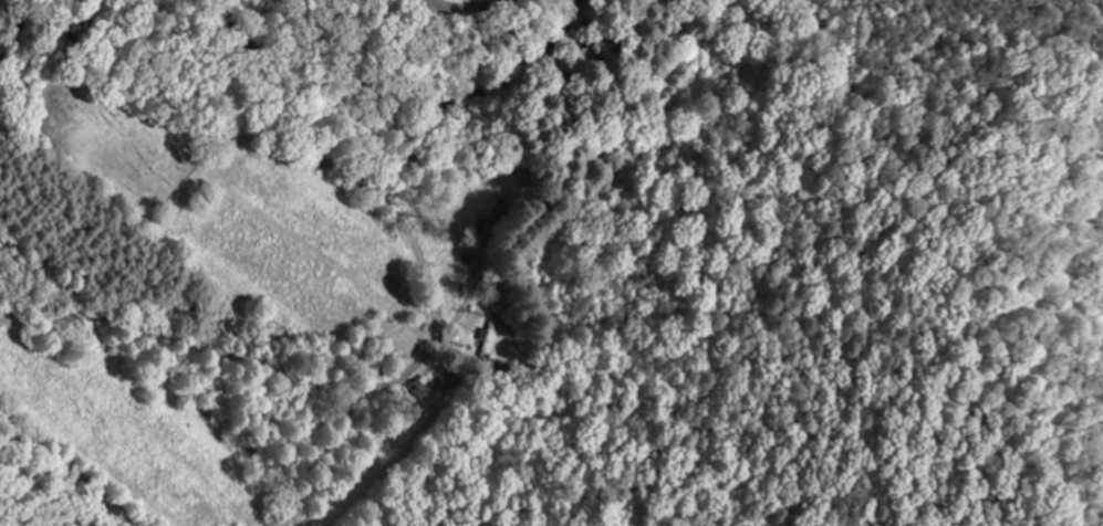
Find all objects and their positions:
road: (464, 11)
park: (115, 139)
road: (431, 346)
road: (72, 465)

